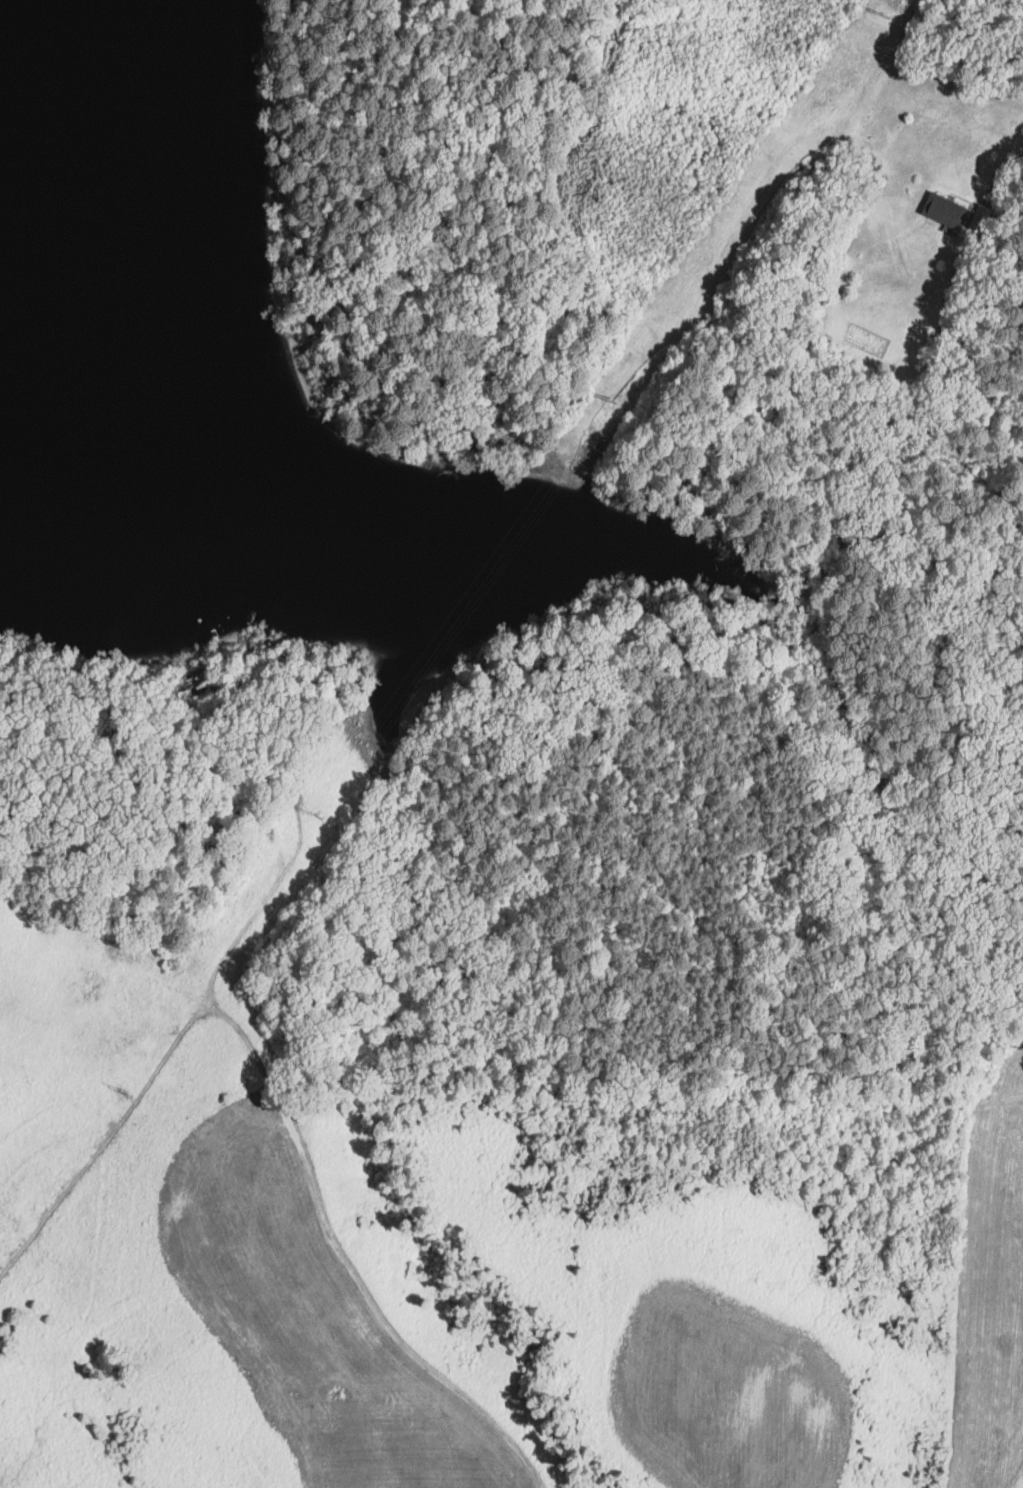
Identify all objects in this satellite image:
power tower: (887, 15)
building: (944, 210)
power tower: (613, 398)
power tower: (319, 815)
power tower: (125, 1090)

